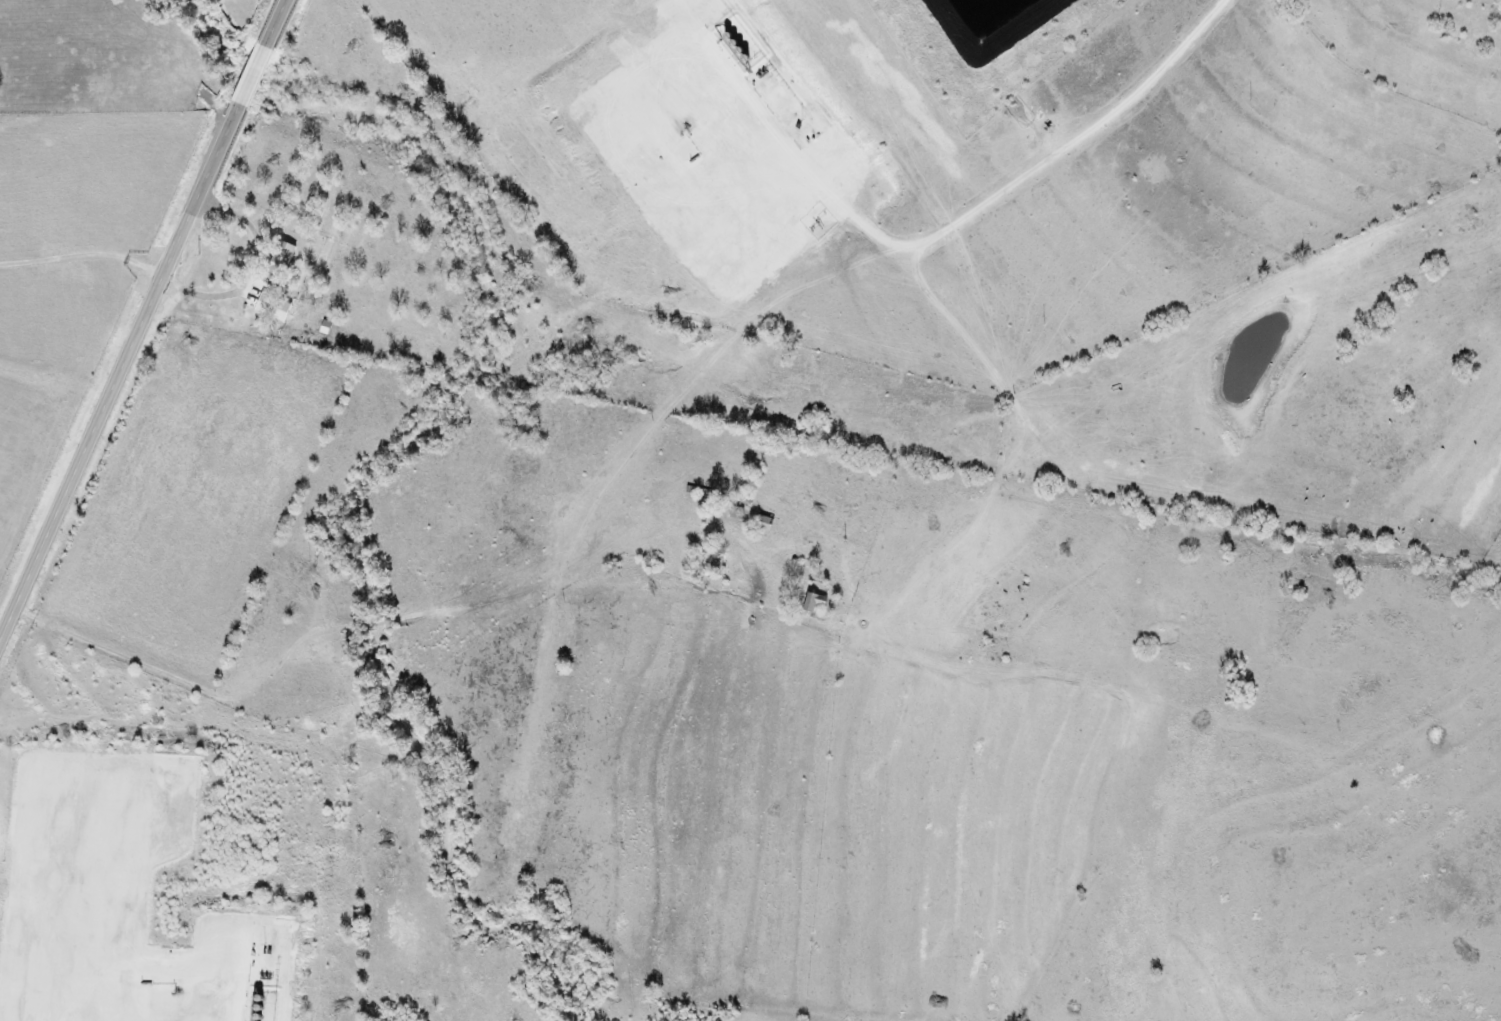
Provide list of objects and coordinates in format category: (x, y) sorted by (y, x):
petroleum well: (687, 126)
road: (1023, 178)
building: (280, 261)
building: (273, 307)
road: (144, 323)
building: (814, 601)
petroleum well: (176, 994)

